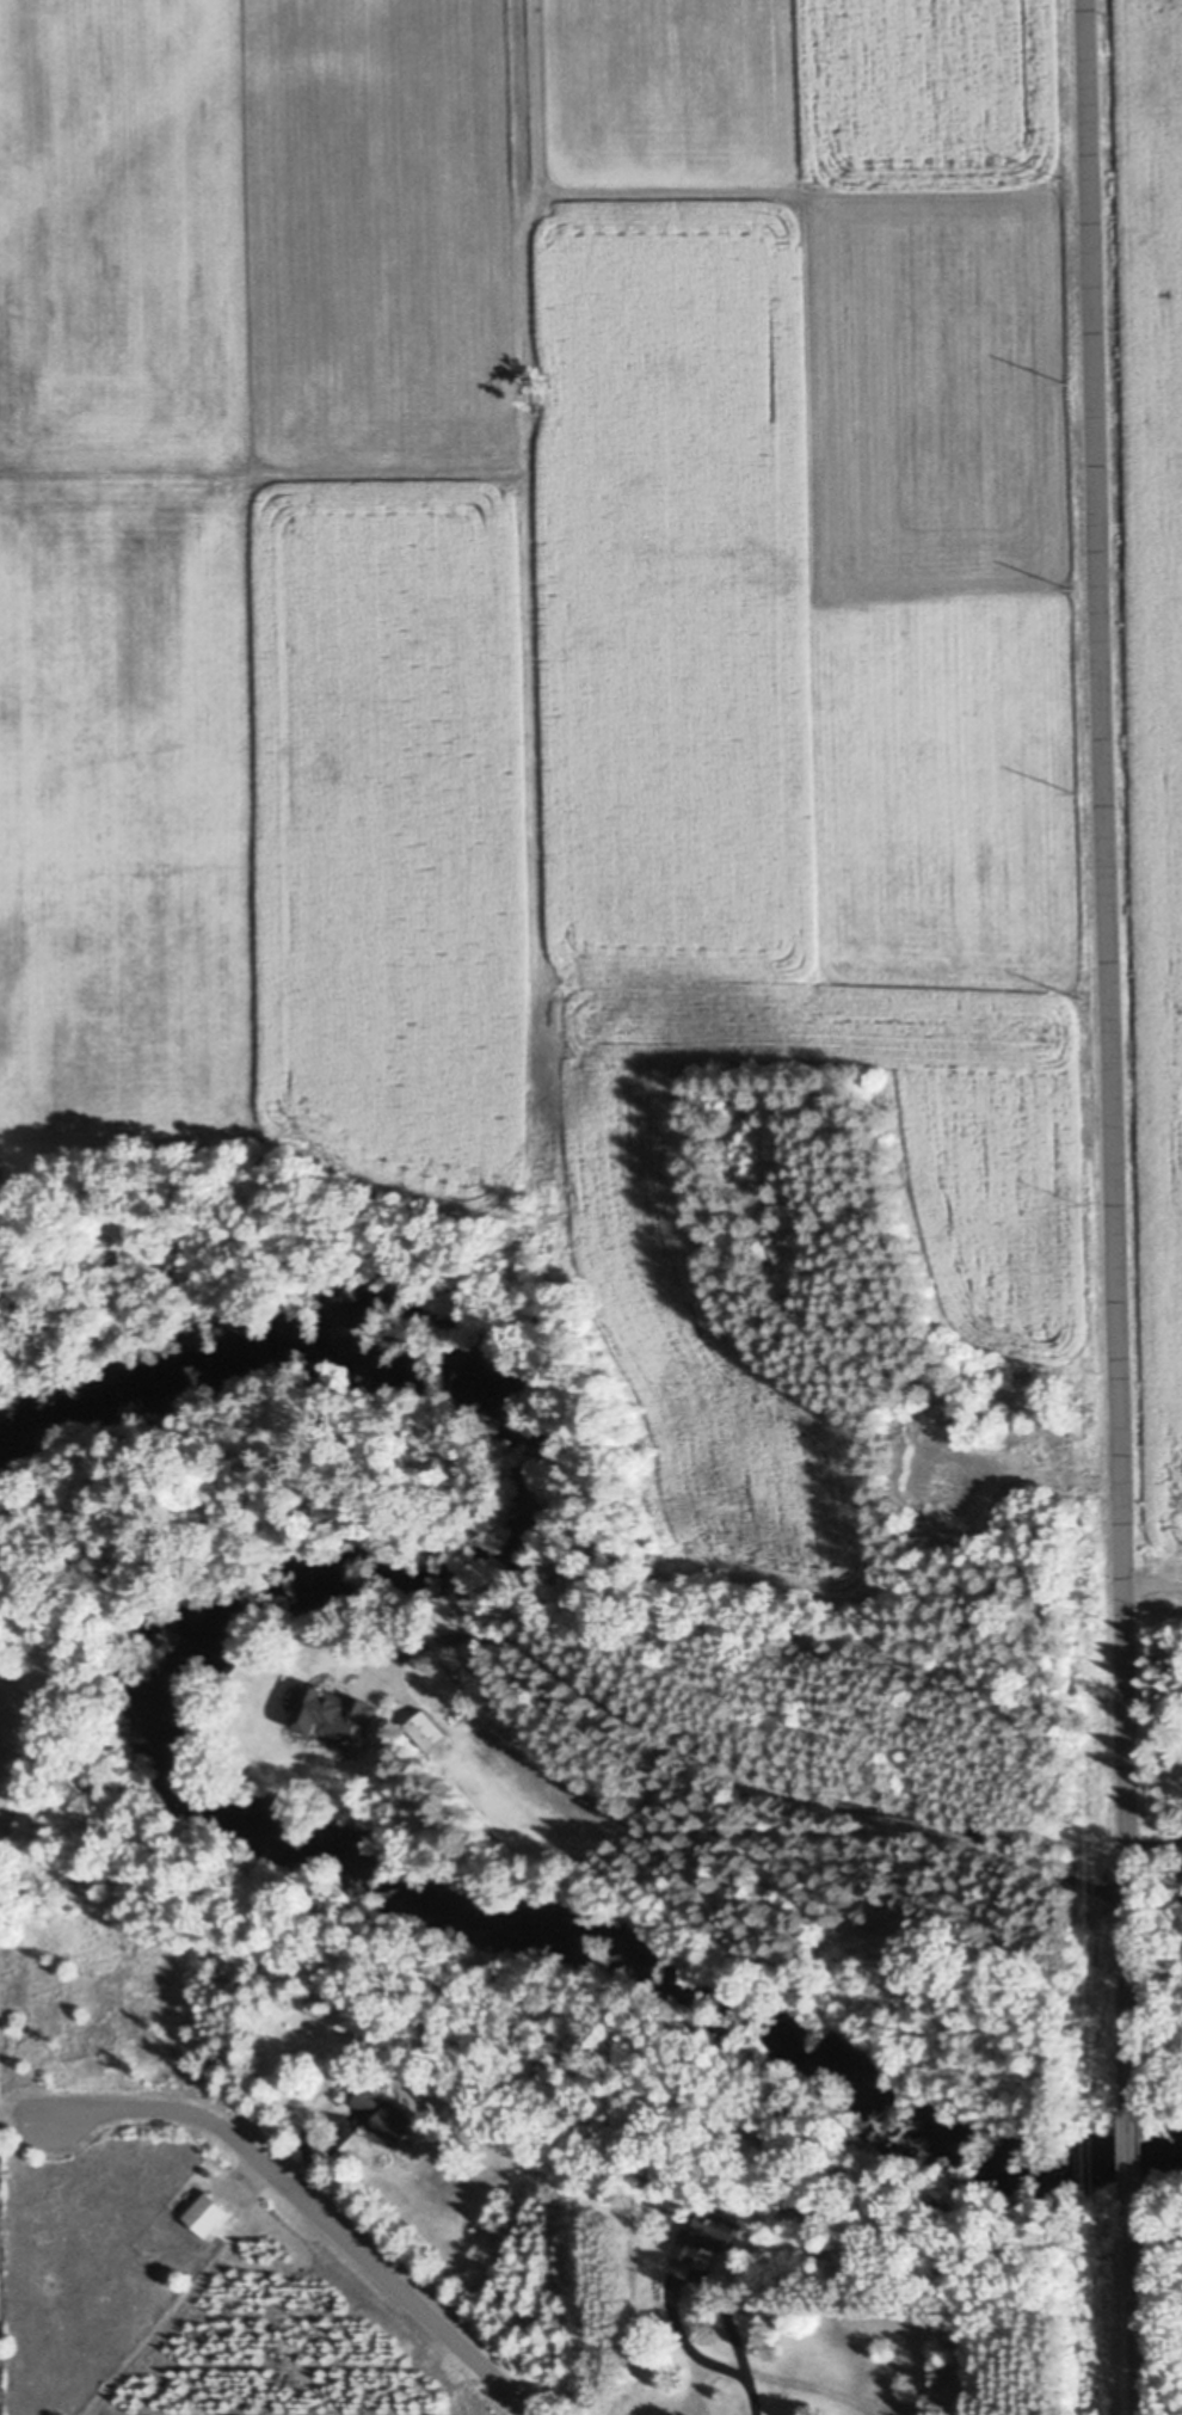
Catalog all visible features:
road: (1107, 1053)
building: (137, 1374)
road: (1150, 1585)
river: (174, 1707)
building: (333, 1716)
building: (425, 1731)
road: (768, 1781)
building: (573, 1786)
building: (590, 1800)
road: (1152, 1844)
building: (384, 2115)
road: (1128, 2162)
road: (312, 2210)
building: (207, 2216)
building: (694, 2245)
road: (673, 2274)
road: (1132, 2316)
road: (747, 2391)

